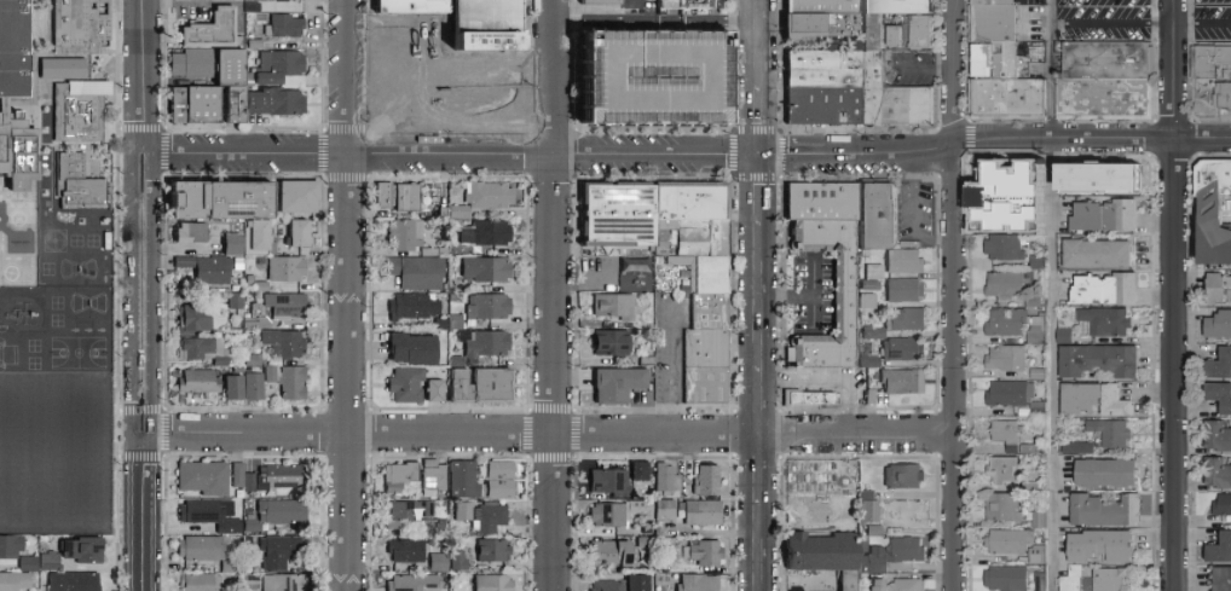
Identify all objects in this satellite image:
building: (601, 2)
building: (687, 5)
building: (411, 6)
building: (825, 10)
building: (900, 11)
road: (654, 21)
parking lot: (1102, 21)
parking lot: (1210, 21)
building: (77, 23)
building: (801, 23)
building: (283, 24)
building: (489, 25)
road: (1139, 25)
building: (209, 27)
building: (998, 31)
building: (826, 33)
building: (891, 35)
building: (874, 40)
road: (758, 42)
building: (915, 44)
building: (13, 48)
building: (195, 63)
building: (1106, 64)
building: (276, 65)
road: (485, 65)
building: (59, 68)
building: (998, 68)
building: (1213, 68)
building: (825, 76)
road: (553, 77)
building: (654, 77)
parking garage: (654, 77)
building: (1223, 95)
road: (440, 99)
building: (271, 100)
building: (209, 102)
building: (1105, 104)
building: (894, 105)
building: (1012, 105)
building: (81, 110)
building: (825, 114)
road: (759, 121)
road: (993, 140)
road: (346, 152)
road: (655, 155)
traffic signals: (761, 156)
building: (1094, 178)
building: (75, 180)
road: (761, 190)
building: (297, 196)
building: (383, 196)
building: (410, 196)
building: (485, 196)
building: (214, 199)
building: (826, 199)
building: (694, 201)
building: (1006, 208)
building: (884, 212)
building: (1212, 213)
road: (141, 215)
building: (1103, 215)
building: (1033, 221)
building: (185, 231)
building: (484, 232)
building: (255, 233)
building: (300, 233)
building: (403, 233)
building: (706, 237)
building: (229, 243)
building: (1004, 248)
building: (1097, 254)
building: (902, 260)
building: (1036, 261)
building: (204, 268)
building: (283, 268)
building: (484, 268)
building: (415, 272)
building: (715, 274)
building: (1005, 284)
building: (903, 289)
building: (1103, 289)
building: (1218, 289)
road: (813, 294)
road: (346, 295)
road: (761, 295)
road: (787, 295)
road: (957, 295)
road: (1052, 295)
road: (1174, 295)
parking lot: (814, 296)
building: (846, 296)
building: (235, 299)
building: (284, 303)
building: (612, 305)
building: (486, 306)
building: (411, 307)
building: (712, 311)
building: (191, 318)
building: (905, 318)
building: (1108, 321)
building: (1005, 323)
building: (1218, 326)
building: (1035, 332)
building: (282, 342)
building: (607, 342)
building: (485, 343)
building: (895, 344)
building: (410, 348)
building: (203, 349)
building: (250, 359)
building: (1004, 359)
building: (865, 360)
building: (1097, 360)
building: (1220, 365)
building: (709, 366)
road: (550, 372)
building: (285, 379)
building: (196, 381)
road: (674, 381)
building: (901, 381)
building: (487, 383)
building: (614, 383)
building: (411, 384)
building: (457, 384)
building: (252, 386)
building: (230, 387)
building: (1011, 396)
building: (1219, 396)
building: (810, 398)
road: (761, 400)
building: (1093, 400)
road: (549, 433)
building: (1006, 433)
building: (1111, 434)
building: (1216, 436)
building: (1076, 447)
building: (498, 469)
road: (761, 469)
building: (637, 470)
building: (1002, 471)
building: (1106, 474)
building: (1216, 474)
building: (239, 475)
building: (278, 475)
building: (397, 475)
building: (903, 475)
building: (201, 476)
building: (432, 476)
building: (663, 476)
building: (462, 479)
building: (705, 480)
building: (608, 481)
building: (498, 487)
building: (1221, 504)
building: (637, 508)
building: (1002, 508)
building: (203, 509)
building: (663, 510)
building: (867, 510)
road: (140, 511)
building: (411, 511)
building: (1104, 511)
building: (700, 512)
building: (606, 514)
building: (482, 516)
building: (872, 529)
building: (8, 545)
building: (1015, 545)
road: (761, 546)
building: (1099, 546)
building: (79, 549)
building: (202, 549)
building: (490, 549)
building: (903, 549)
building: (1219, 549)
building: (278, 550)
building: (403, 550)
building: (612, 552)
building: (703, 552)
building: (825, 556)
building: (456, 558)
building: (47, 560)
building: (871, 560)
building: (437, 561)
building: (27, 562)
building: (1005, 579)
building: (1221, 579)
building: (13, 580)
building: (1070, 580)
building: (1111, 580)
building: (70, 581)
building: (201, 581)
building: (250, 581)
building: (283, 581)
building: (410, 583)
building: (491, 583)
building: (635, 583)
building: (694, 583)
building: (873, 584)
building: (606, 585)
building: (903, 585)
road: (761, 589)
building: (1039, 589)

